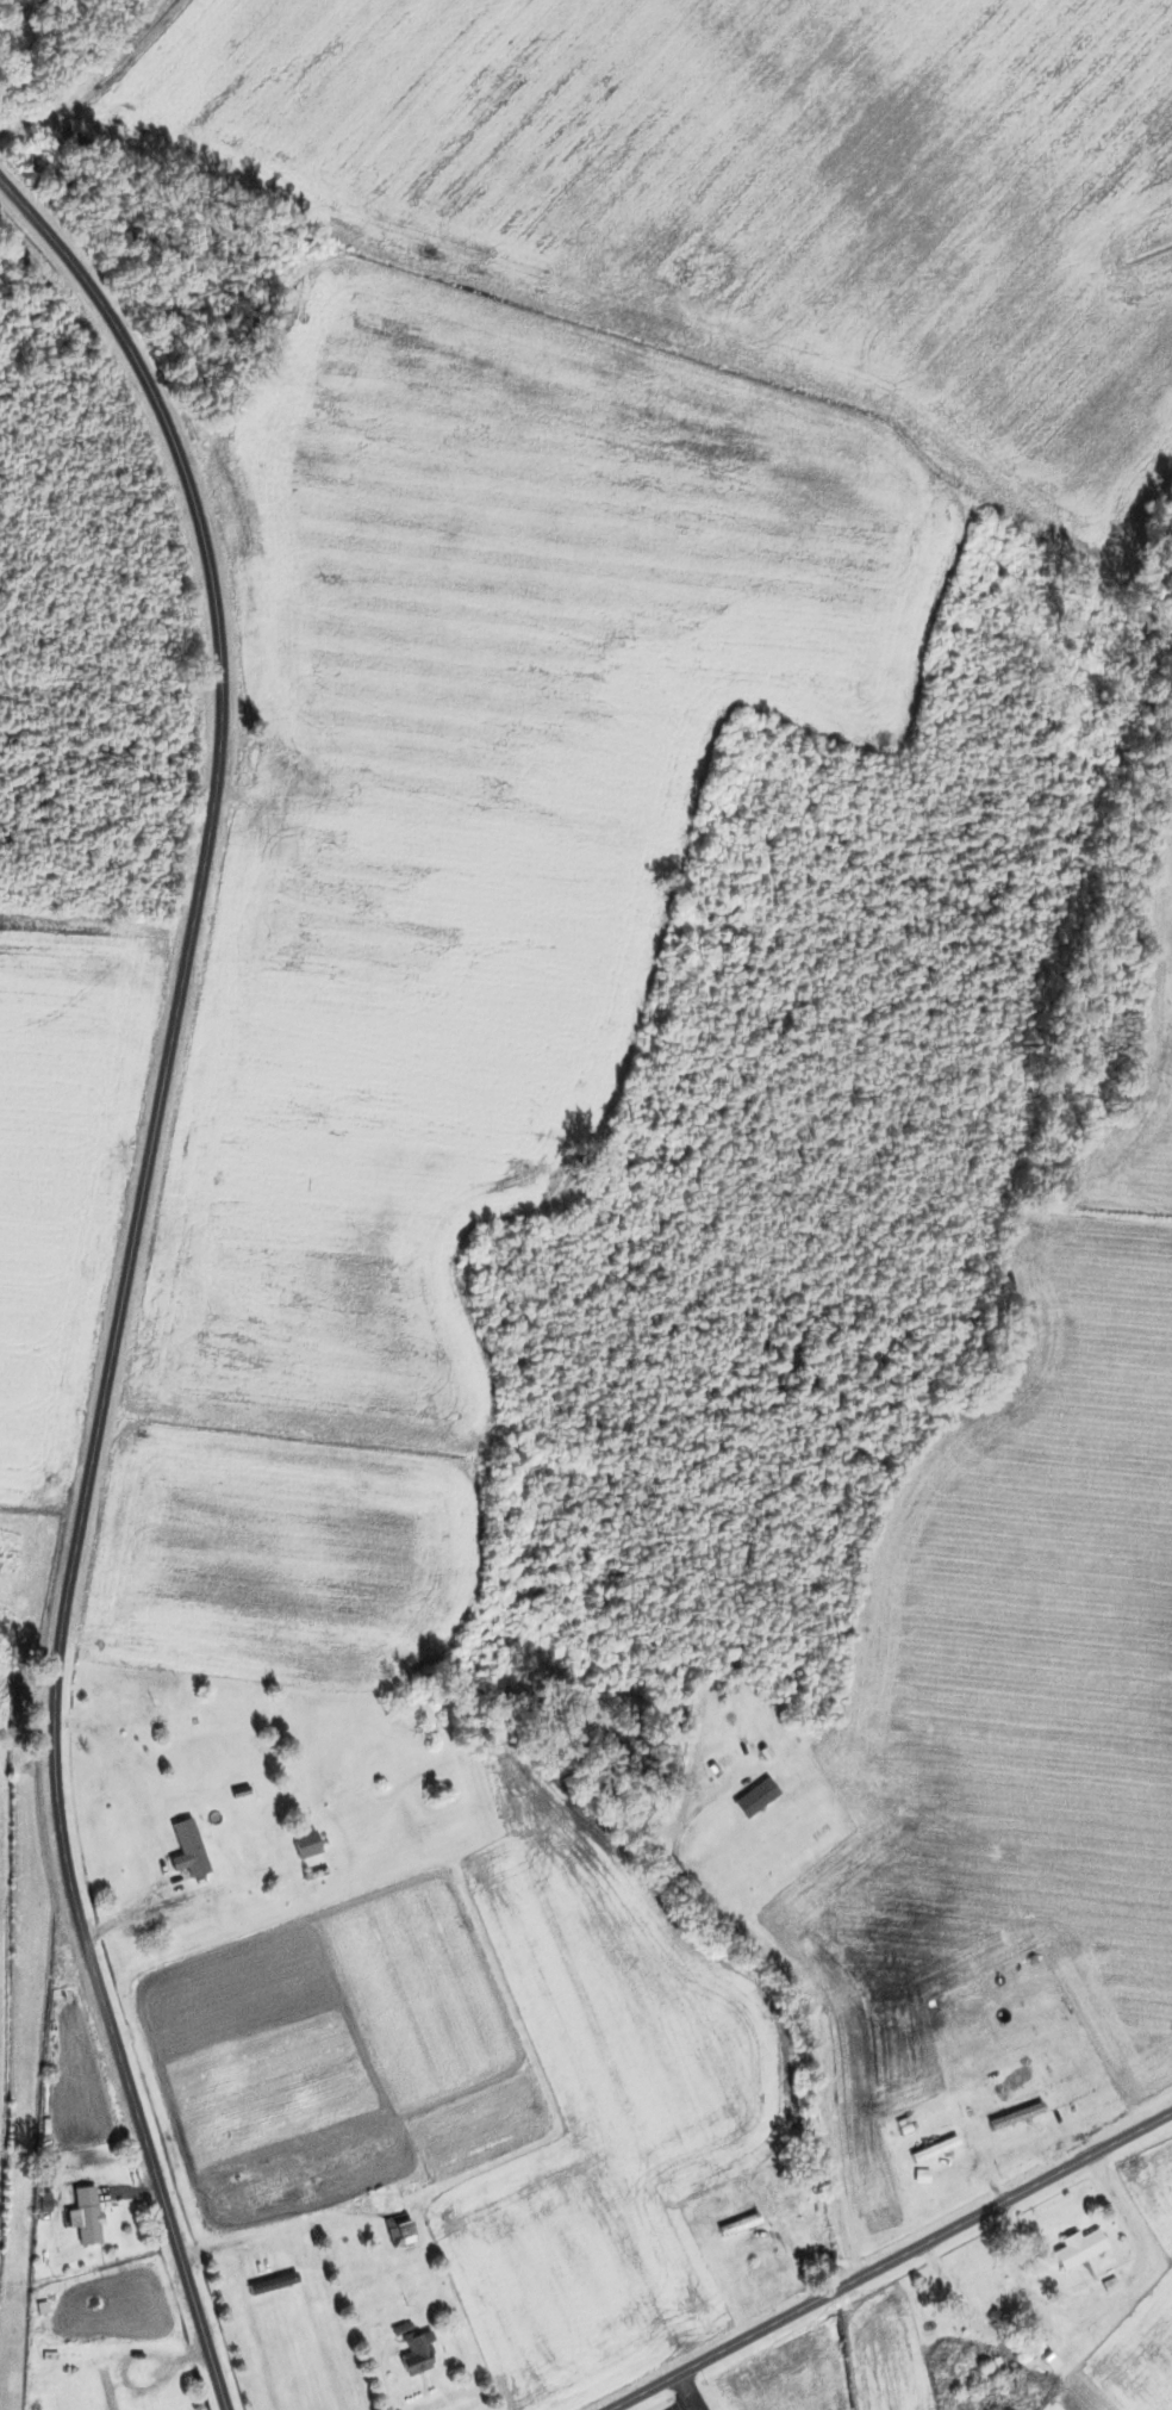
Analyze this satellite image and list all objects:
road: (126, 1275)
building: (306, 1845)
building: (189, 1850)
building: (1025, 2111)
building: (935, 2150)
building: (86, 2223)
building: (740, 2225)
building: (401, 2230)
building: (1080, 2249)
road: (891, 2261)
building: (417, 2356)
building: (45, 2404)

